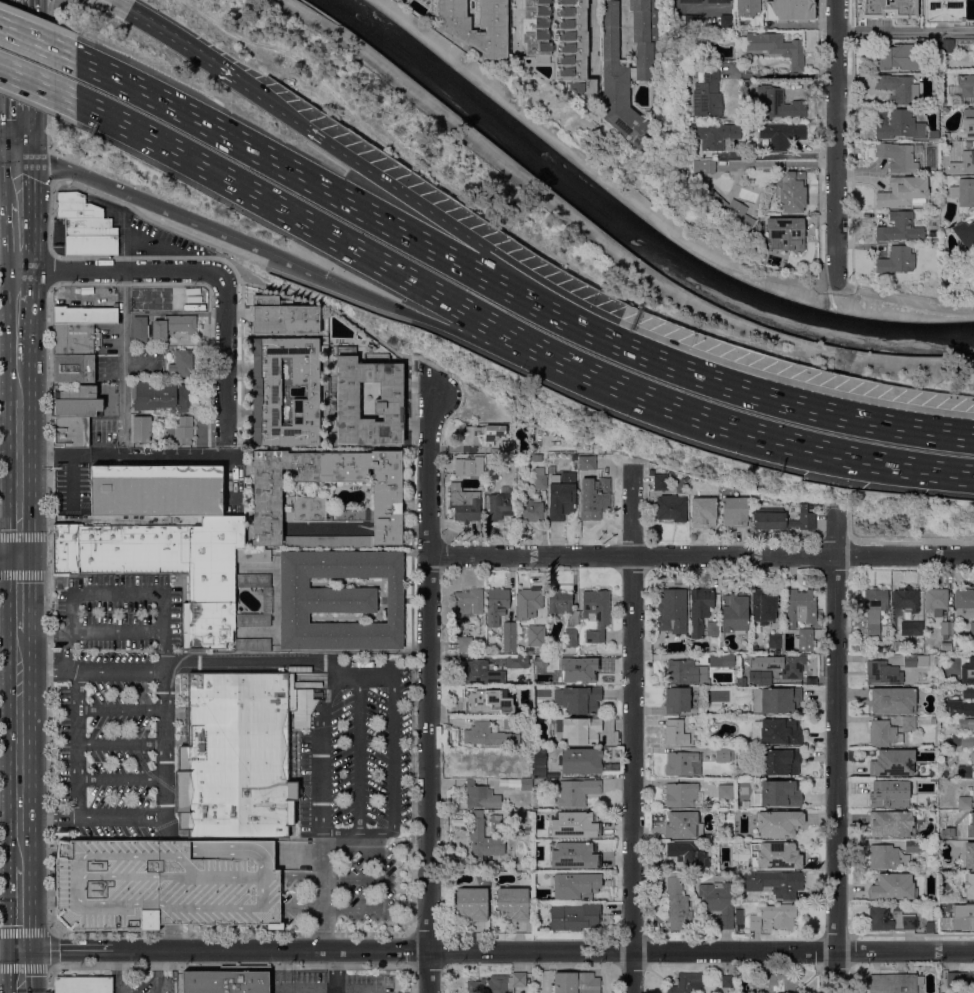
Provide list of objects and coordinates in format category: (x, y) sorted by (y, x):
building: (690, 1)
building: (718, 1)
building: (747, 7)
building: (887, 8)
building: (790, 10)
building: (943, 10)
building: (688, 20)
building: (727, 21)
road: (515, 24)
road: (805, 24)
road: (622, 27)
building: (536, 29)
building: (458, 30)
road: (905, 31)
road: (174, 36)
building: (706, 38)
road: (37, 42)
building: (930, 45)
building: (947, 45)
building: (574, 46)
building: (778, 47)
building: (973, 51)
building: (898, 56)
building: (628, 68)
road: (780, 74)
road: (21, 75)
road: (49, 75)
building: (745, 82)
building: (966, 83)
road: (37, 84)
building: (897, 87)
building: (708, 93)
building: (776, 103)
road: (278, 108)
building: (968, 122)
building: (898, 123)
building: (714, 134)
building: (782, 134)
building: (933, 134)
road: (836, 141)
road: (11, 145)
traffic signals: (22, 151)
building: (897, 156)
building: (965, 159)
road: (779, 163)
building: (703, 166)
road: (50, 168)
building: (682, 170)
road: (21, 175)
building: (791, 191)
building: (903, 191)
building: (963, 191)
road: (10, 200)
building: (724, 206)
road: (648, 211)
road: (369, 213)
road: (172, 214)
road: (51, 217)
building: (85, 225)
building: (899, 227)
river: (627, 229)
building: (787, 232)
road: (20, 234)
building: (965, 234)
road: (338, 239)
road: (603, 243)
road: (494, 253)
road: (10, 258)
building: (896, 260)
road: (48, 268)
road: (120, 270)
building: (191, 290)
building: (193, 299)
building: (138, 305)
building: (85, 314)
building: (283, 316)
road: (20, 318)
building: (173, 325)
building: (140, 328)
road: (460, 333)
building: (75, 338)
road: (123, 354)
road: (225, 358)
building: (182, 362)
building: (73, 368)
road: (19, 382)
building: (391, 389)
building: (266, 390)
building: (161, 395)
building: (75, 401)
road: (818, 409)
building: (141, 428)
building: (181, 430)
building: (70, 431)
building: (480, 435)
road: (784, 441)
building: (507, 446)
building: (574, 456)
building: (537, 457)
road: (19, 458)
building: (586, 462)
building: (468, 466)
building: (491, 473)
building: (539, 477)
building: (660, 481)
building: (670, 481)
building: (156, 489)
building: (522, 493)
building: (561, 495)
building: (594, 497)
building: (309, 499)
building: (464, 502)
building: (499, 506)
building: (671, 507)
building: (530, 510)
building: (703, 511)
building: (734, 511)
building: (782, 518)
road: (22, 535)
road: (19, 537)
road: (10, 555)
traffic signals: (20, 555)
road: (700, 555)
building: (168, 565)
road: (22, 572)
road: (955, 575)
road: (20, 593)
road: (116, 593)
building: (906, 598)
building: (266, 599)
building: (339, 599)
building: (936, 600)
building: (468, 601)
building: (528, 601)
building: (559, 602)
building: (964, 602)
building: (496, 604)
building: (763, 606)
building: (798, 607)
building: (874, 608)
road: (46, 609)
building: (700, 609)
building: (672, 610)
building: (734, 610)
building: (596, 612)
building: (912, 627)
building: (972, 627)
building: (539, 628)
building: (713, 628)
building: (946, 628)
road: (43, 631)
road: (67, 631)
road: (115, 632)
building: (509, 636)
building: (571, 636)
building: (805, 639)
building: (774, 640)
building: (889, 642)
building: (465, 643)
building: (253, 644)
building: (946, 645)
building: (898, 647)
building: (957, 649)
road: (20, 651)
building: (936, 659)
building: (517, 660)
building: (721, 660)
building: (910, 660)
building: (923, 660)
road: (251, 663)
building: (783, 664)
building: (571, 669)
building: (967, 670)
road: (43, 671)
road: (115, 671)
building: (686, 671)
building: (883, 671)
building: (481, 672)
building: (760, 676)
building: (740, 680)
road: (19, 682)
road: (428, 692)
building: (968, 692)
building: (579, 698)
building: (677, 699)
building: (776, 699)
building: (892, 699)
building: (485, 700)
parking lot: (115, 702)
road: (164, 705)
road: (121, 707)
building: (960, 708)
building: (933, 720)
building: (509, 721)
building: (909, 722)
building: (966, 723)
road: (632, 728)
building: (579, 729)
building: (754, 729)
building: (780, 730)
building: (675, 731)
building: (883, 733)
building: (488, 734)
building: (966, 740)
road: (394, 741)
road: (120, 742)
road: (77, 744)
road: (836, 750)
building: (239, 753)
building: (722, 753)
building: (973, 759)
building: (581, 760)
building: (780, 761)
building: (892, 761)
building: (476, 762)
building: (680, 762)
road: (19, 764)
building: (539, 764)
road: (360, 765)
building: (964, 770)
road: (120, 779)
building: (526, 783)
building: (928, 783)
building: (725, 790)
building: (575, 791)
building: (780, 792)
building: (683, 794)
building: (481, 795)
building: (887, 795)
building: (964, 802)
road: (320, 807)
road: (120, 818)
building: (496, 820)
building: (891, 822)
building: (778, 823)
building: (572, 824)
building: (680, 825)
road: (164, 828)
building: (528, 830)
building: (582, 833)
building: (963, 833)
building: (483, 837)
building: (913, 845)
road: (20, 850)
building: (688, 853)
building: (571, 855)
building: (778, 855)
building: (969, 855)
building: (887, 856)
building: (551, 875)
building: (539, 877)
road: (379, 878)
road: (350, 879)
building: (775, 882)
building: (165, 883)
building: (969, 885)
building: (892, 886)
building: (578, 888)
building: (719, 899)
building: (471, 902)
building: (512, 902)
building: (676, 904)
road: (20, 907)
building: (575, 915)
building: (738, 916)
building: (775, 916)
building: (906, 916)
building: (965, 919)
building: (929, 926)
road: (169, 936)
road: (50, 948)
traffic signals: (21, 949)
road: (497, 950)
road: (243, 963)
road: (337, 969)
road: (21, 971)
road: (116, 971)
road: (157, 971)
road: (48, 978)
building: (959, 978)
parking lot: (144, 980)
building: (229, 980)
parking lot: (331, 982)
building: (575, 982)
building: (687, 982)
building: (497, 983)
building: (726, 983)
building: (776, 983)
building: (895, 983)
building: (83, 984)
road: (323, 988)
road: (337, 991)
road: (375, 991)

